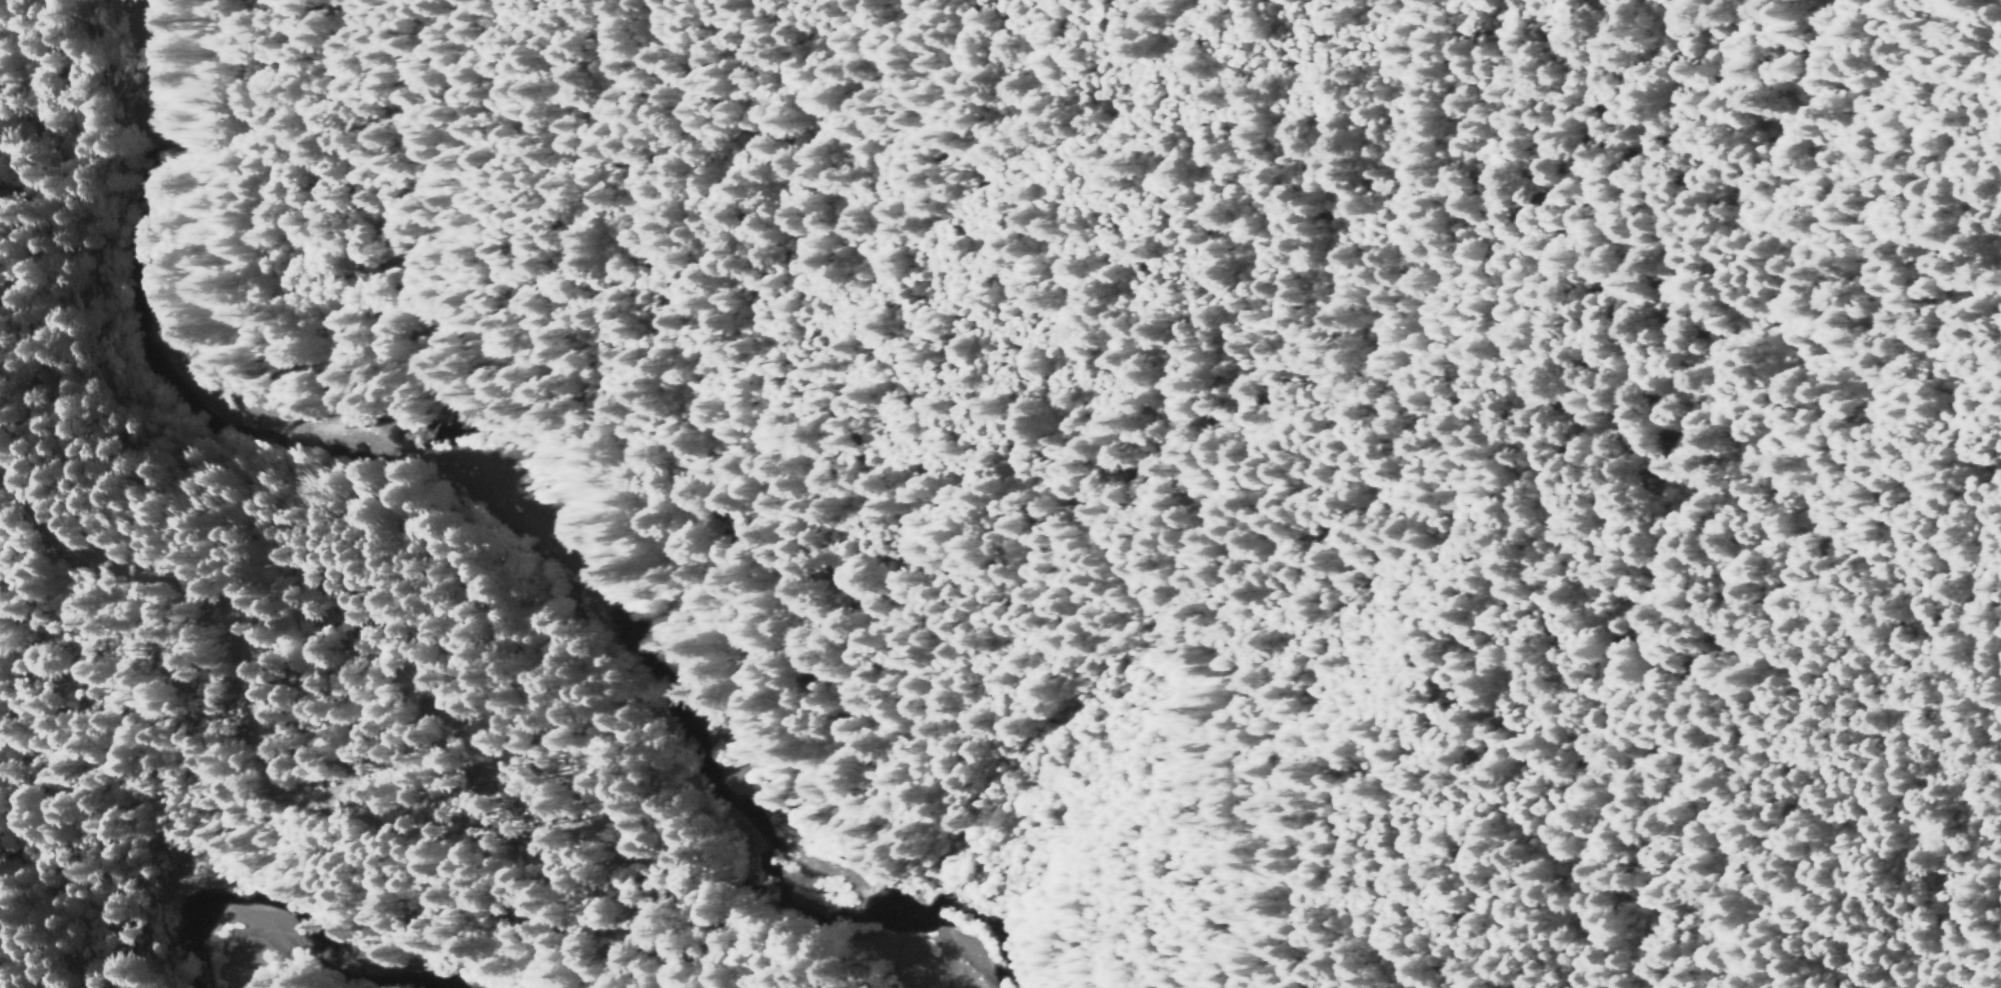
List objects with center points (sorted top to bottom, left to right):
river: (487, 467)
river: (302, 913)

